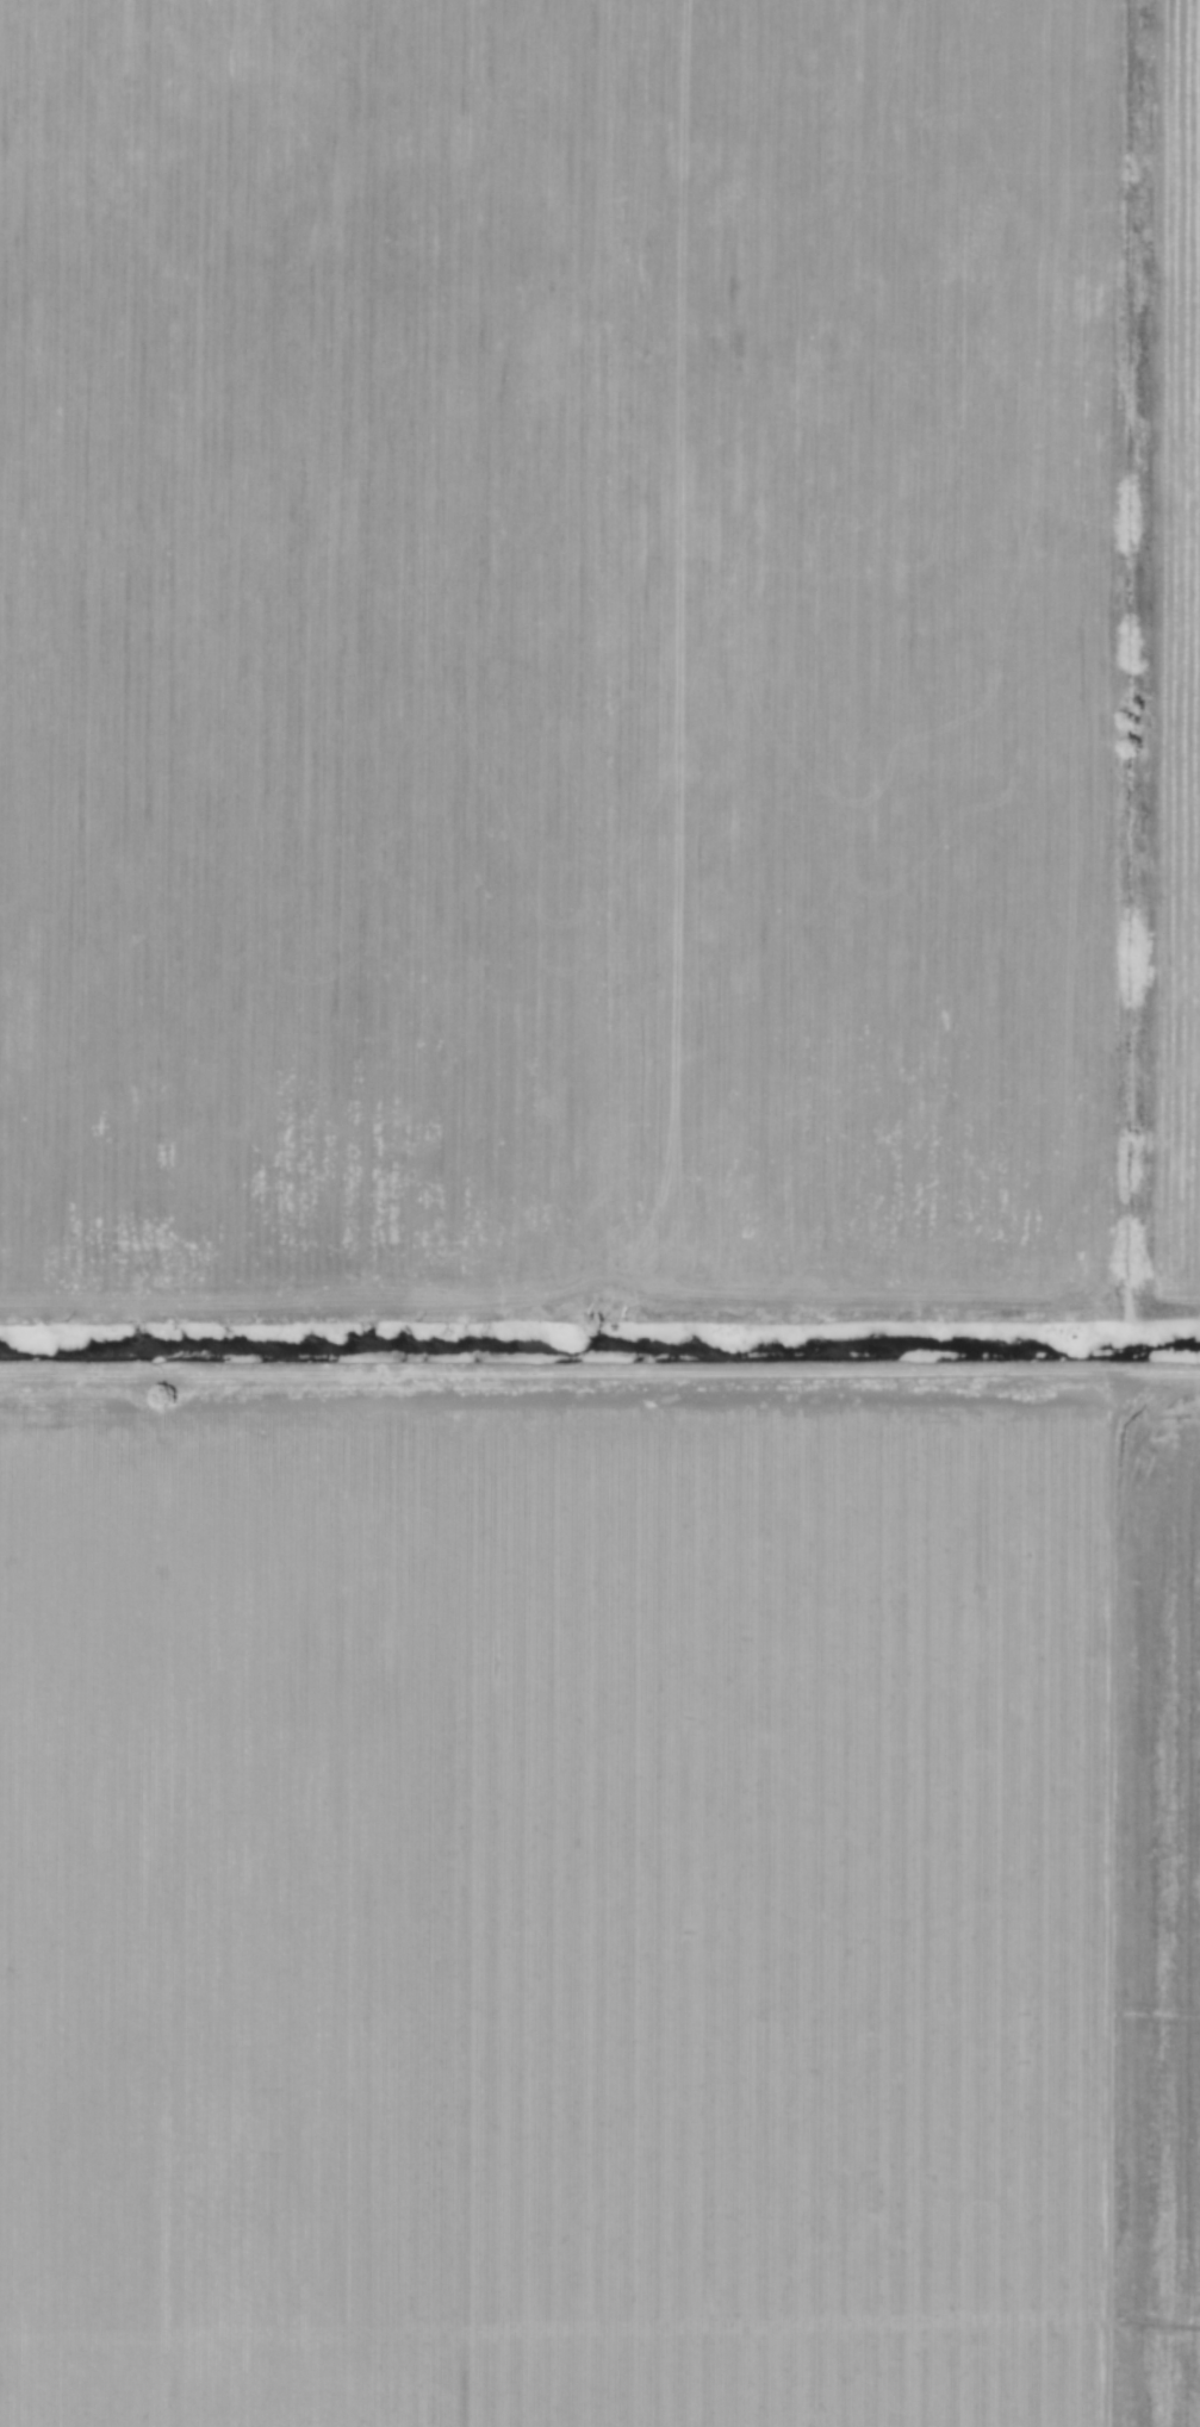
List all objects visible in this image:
crop: (598, 1906)

